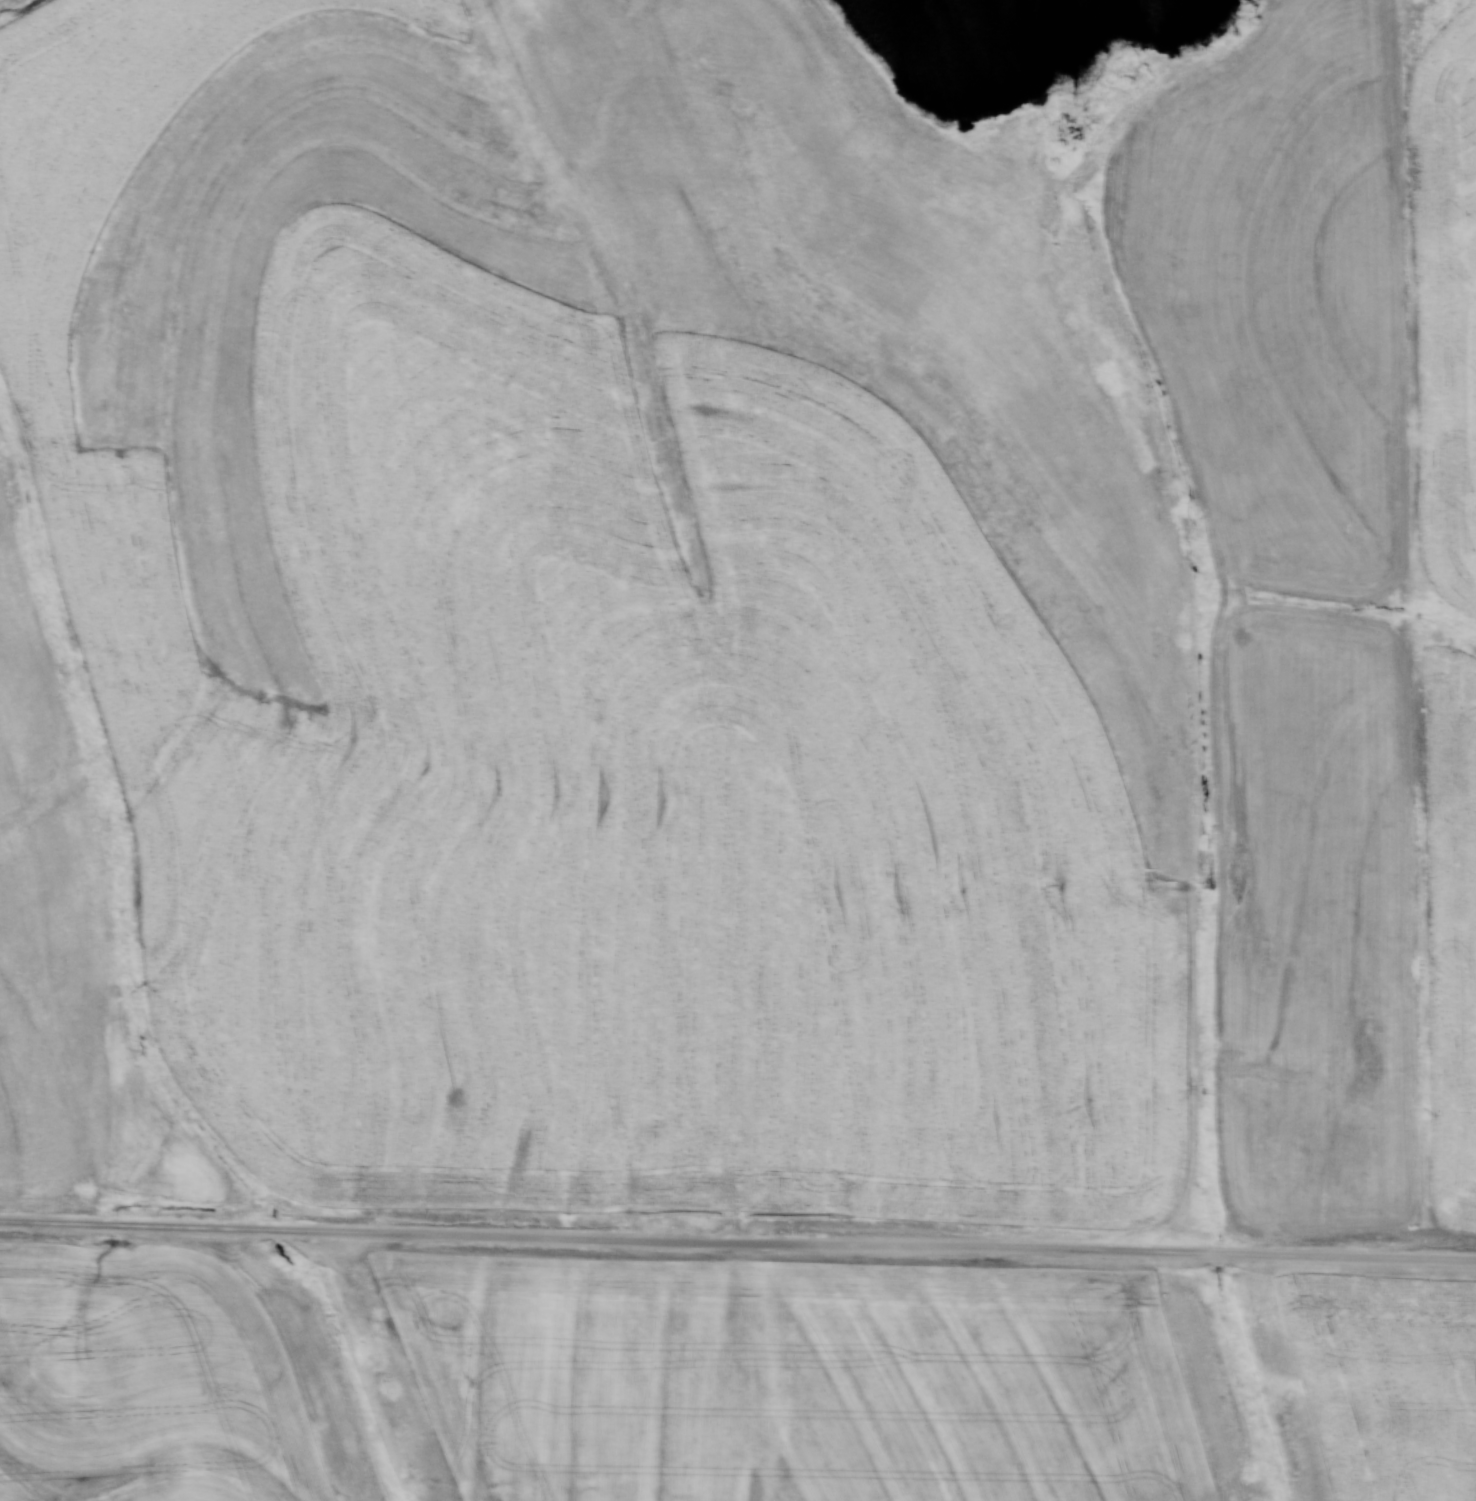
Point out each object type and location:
road: (737, 1245)

